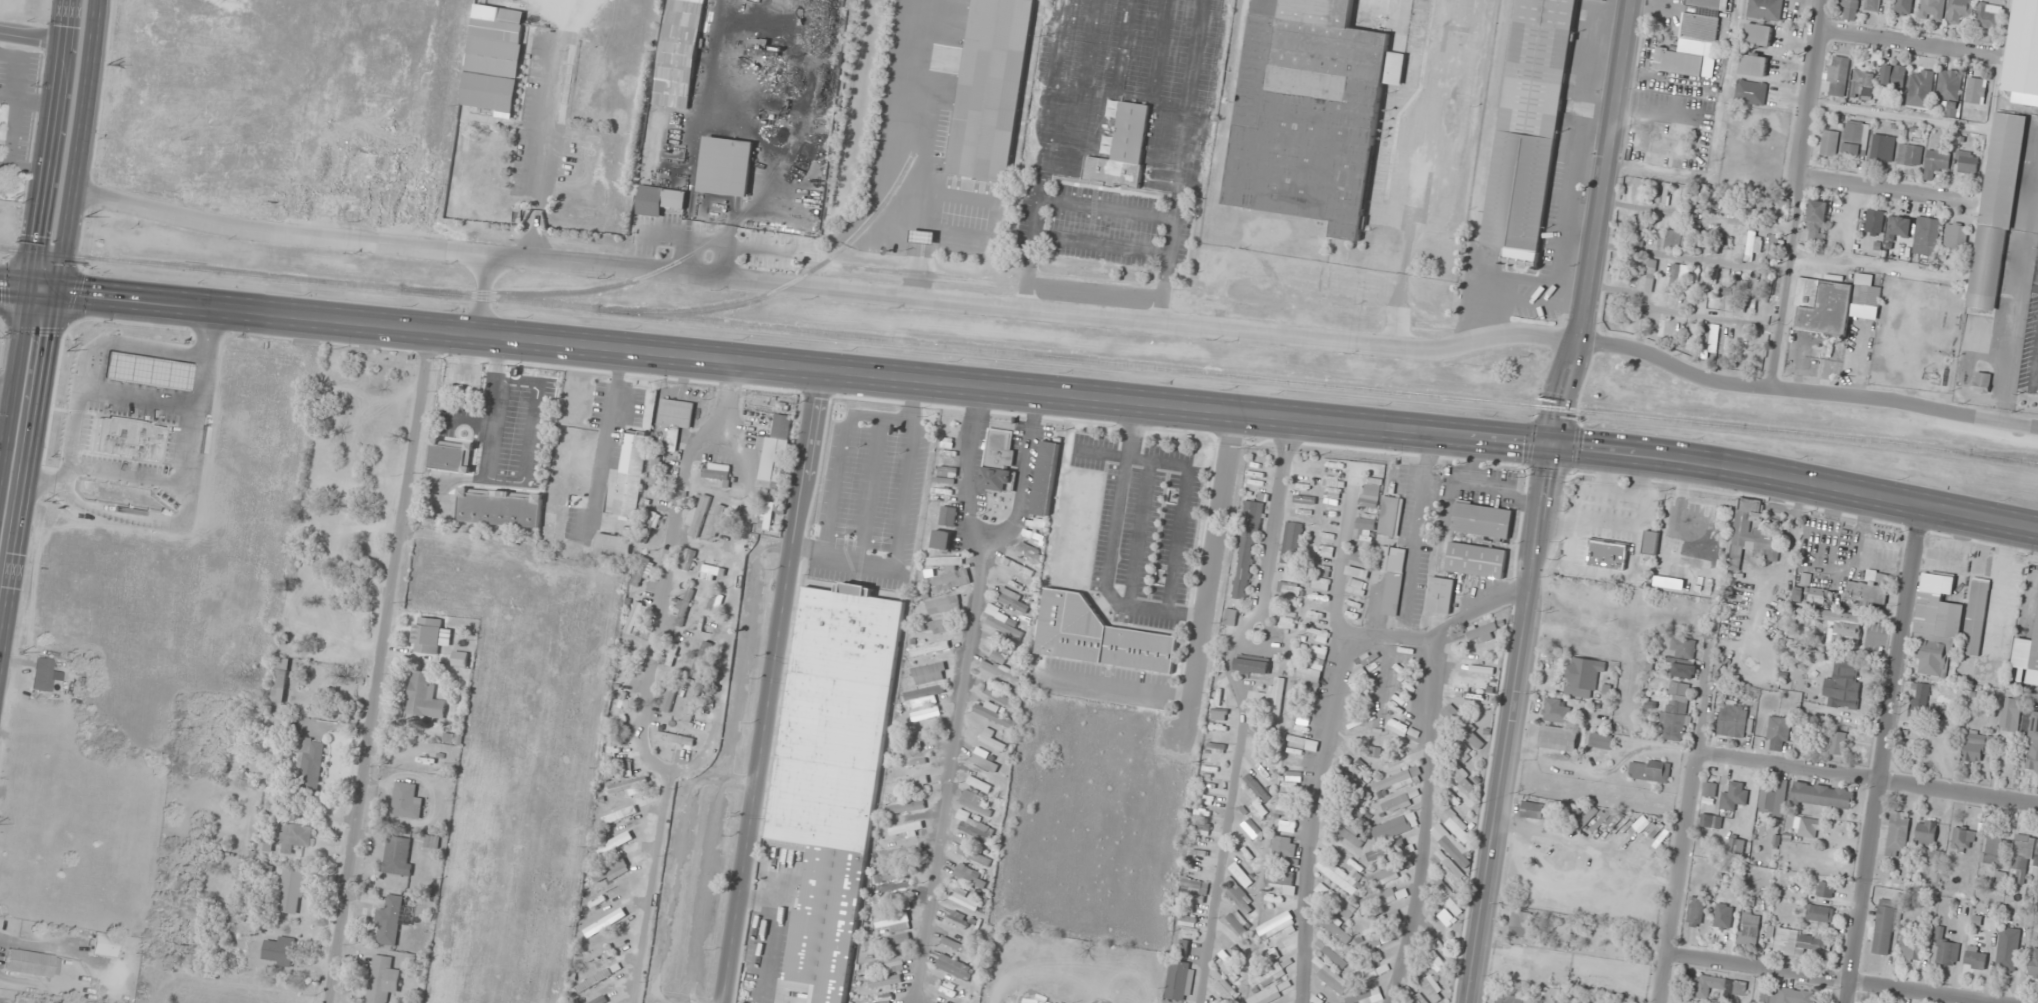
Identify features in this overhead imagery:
building: (1604, 0)
building: (1850, 3)
building: (1708, 4)
building: (1872, 5)
building: (1907, 5)
building: (1765, 9)
building: (1933, 9)
building: (1960, 9)
building: (1989, 15)
building: (1758, 34)
road: (30, 37)
road: (1903, 42)
building: (1689, 46)
building: (2024, 49)
building: (679, 54)
building: (495, 62)
building: (1753, 65)
building: (1837, 75)
building: (1893, 75)
building: (1862, 85)
building: (1920, 88)
building: (990, 89)
building: (1976, 90)
building: (1750, 92)
building: (1949, 93)
railway: (2033, 101)
building: (441, 108)
building: (1309, 111)
building: (1528, 129)
building: (1855, 139)
building: (1829, 143)
road: (46, 145)
road: (77, 146)
building: (1883, 147)
building: (1123, 149)
building: (1910, 154)
building: (1967, 161)
building: (1936, 163)
building: (726, 166)
building: (373, 169)
road: (1886, 191)
building: (1648, 194)
road: (1799, 194)
building: (1679, 195)
building: (659, 200)
building: (1714, 201)
building: (1995, 212)
building: (1874, 221)
road: (1595, 222)
building: (1816, 222)
building: (1898, 227)
building: (1641, 230)
building: (1926, 236)
building: (1955, 237)
building: (1680, 239)
building: (1747, 243)
building: (1774, 245)
railway: (652, 273)
building: (1612, 275)
building: (1650, 275)
building: (1675, 279)
railway: (782, 286)
road: (823, 286)
road: (13, 288)
traffic signals: (27, 290)
road: (41, 291)
traffic signals: (56, 293)
road: (486, 293)
building: (1730, 303)
building: (1833, 305)
building: (1692, 337)
building: (1724, 340)
railway: (1019, 353)
building: (1847, 366)
road: (804, 367)
building: (143, 371)
road: (13, 379)
building: (1982, 381)
road: (1804, 391)
building: (671, 423)
building: (126, 438)
traffic signals: (1552, 444)
building: (775, 448)
road: (842, 451)
building: (453, 454)
railway: (2004, 455)
building: (998, 460)
building: (656, 470)
building: (716, 471)
road: (965, 471)
building: (632, 474)
road: (28, 478)
building: (1045, 478)
road: (1796, 479)
building: (1333, 487)
road: (872, 488)
building: (1370, 492)
parking lot: (870, 499)
building: (1304, 499)
building: (1611, 506)
building: (501, 508)
building: (767, 512)
building: (698, 515)
building: (948, 516)
building: (1390, 516)
building: (1482, 519)
building: (717, 520)
road: (898, 520)
building: (649, 526)
building: (1365, 527)
building: (1752, 535)
building: (941, 539)
building: (1291, 542)
building: (1650, 542)
building: (614, 546)
building: (1246, 549)
building: (1027, 551)
building: (1327, 552)
building: (1607, 554)
building: (1361, 556)
building: (687, 558)
building: (1392, 559)
building: (1476, 559)
building: (1703, 564)
building: (643, 566)
building: (711, 570)
building: (1357, 571)
building: (948, 574)
building: (1013, 581)
building: (1291, 581)
building: (1320, 584)
building: (1356, 587)
building: (1867, 593)
building: (1441, 594)
building: (1817, 596)
building: (684, 602)
building: (1013, 602)
building: (1391, 604)
building: (943, 605)
building: (1229, 617)
building: (635, 618)
building: (1975, 620)
building: (1004, 623)
building: (1287, 623)
building: (1937, 625)
building: (940, 626)
building: (1842, 627)
building: (1482, 631)
building: (1318, 633)
building: (432, 635)
building: (846, 636)
building: (1098, 636)
road: (1384, 642)
building: (931, 648)
building: (1685, 648)
building: (1001, 649)
building: (2034, 657)
building: (462, 659)
building: (701, 660)
building: (1251, 665)
road: (382, 666)
building: (1475, 667)
building: (1313, 669)
building: (1684, 669)
building: (930, 672)
building: (1001, 673)
building: (45, 675)
building: (1582, 676)
building: (1358, 677)
building: (282, 679)
building: (1844, 684)
road: (771, 686)
building: (1679, 689)
road: (962, 691)
building: (1468, 694)
building: (425, 695)
building: (670, 695)
building: (923, 696)
building: (1000, 697)
building: (1275, 697)
building: (1919, 700)
building: (692, 705)
road: (1242, 706)
building: (1556, 711)
building: (929, 713)
building: (994, 714)
building: (2011, 714)
building: (1733, 719)
building: (1675, 720)
road: (1507, 723)
building: (1352, 724)
building: (1463, 726)
building: (1397, 727)
building: (1778, 731)
building: (920, 737)
building: (676, 738)
building: (1558, 738)
building: (991, 739)
building: (1600, 740)
building: (1302, 743)
building: (1838, 743)
building: (2033, 743)
building: (1978, 746)
building: (1460, 749)
building: (1375, 751)
road: (1885, 754)
building: (312, 762)
building: (826, 762)
building: (984, 762)
building: (920, 763)
building: (1649, 770)
building: (1457, 772)
road: (1869, 778)
building: (1400, 779)
building: (1353, 780)
building: (909, 784)
building: (979, 784)
building: (630, 785)
building: (1710, 789)
building: (1735, 795)
building: (1823, 795)
building: (1773, 798)
building: (1459, 799)
building: (407, 800)
building: (1397, 802)
building: (975, 806)
building: (1288, 810)
building: (1535, 810)
building: (620, 815)
building: (1613, 820)
building: (1711, 820)
building: (1201, 827)
building: (1395, 827)
building: (1808, 827)
building: (1459, 829)
building: (1252, 830)
building: (1898, 834)
building: (1352, 835)
building: (294, 838)
building: (1963, 839)
building: (1451, 845)
building: (1284, 846)
building: (1737, 846)
building: (1997, 849)
building: (1389, 851)
building: (902, 852)
building: (1247, 853)
building: (399, 855)
building: (974, 856)
building: (2024, 856)
building: (1350, 858)
building: (610, 869)
building: (1337, 873)
building: (1241, 874)
building: (1385, 875)
building: (902, 877)
road: (1679, 877)
building: (1279, 886)
building: (1825, 889)
building: (292, 891)
building: (1193, 891)
building: (965, 898)
building: (1241, 898)
building: (1383, 898)
building: (1449, 898)
building: (900, 900)
building: (1335, 900)
building: (1695, 912)
building: (1819, 913)
building: (1394, 916)
building: (1185, 919)
building: (390, 921)
building: (605, 922)
building: (895, 922)
building: (1238, 922)
building: (824, 923)
building: (1276, 925)
building: (1370, 925)
building: (1520, 925)
building: (1885, 927)
building: (1335, 928)
building: (1749, 928)
building: (1912, 939)
building: (888, 941)
building: (1801, 943)
building: (954, 944)
building: (104, 945)
building: (1370, 946)
building: (1946, 947)
building: (1183, 948)
building: (2008, 949)
building: (279, 950)
building: (1273, 952)
building: (1332, 952)
building: (600, 953)
building: (1976, 956)
building: (1435, 961)
building: (32, 963)
building: (1232, 963)
building: (886, 964)
building: (955, 967)
building: (1513, 969)
building: (1369, 971)
building: (1267, 976)
road: (1827, 978)
building: (383, 979)
building: (1332, 979)
building: (1178, 980)
building: (594, 981)
building: (886, 981)
building: (1719, 986)
building: (1431, 989)
building: (951, 990)
building: (1226, 990)
building: (1272, 991)
building: (1366, 996)
building: (1788, 996)
building: (1417, 998)
building: (1509, 998)
building: (601, 1000)
building: (936, 1002)
building: (1219, 1002)

